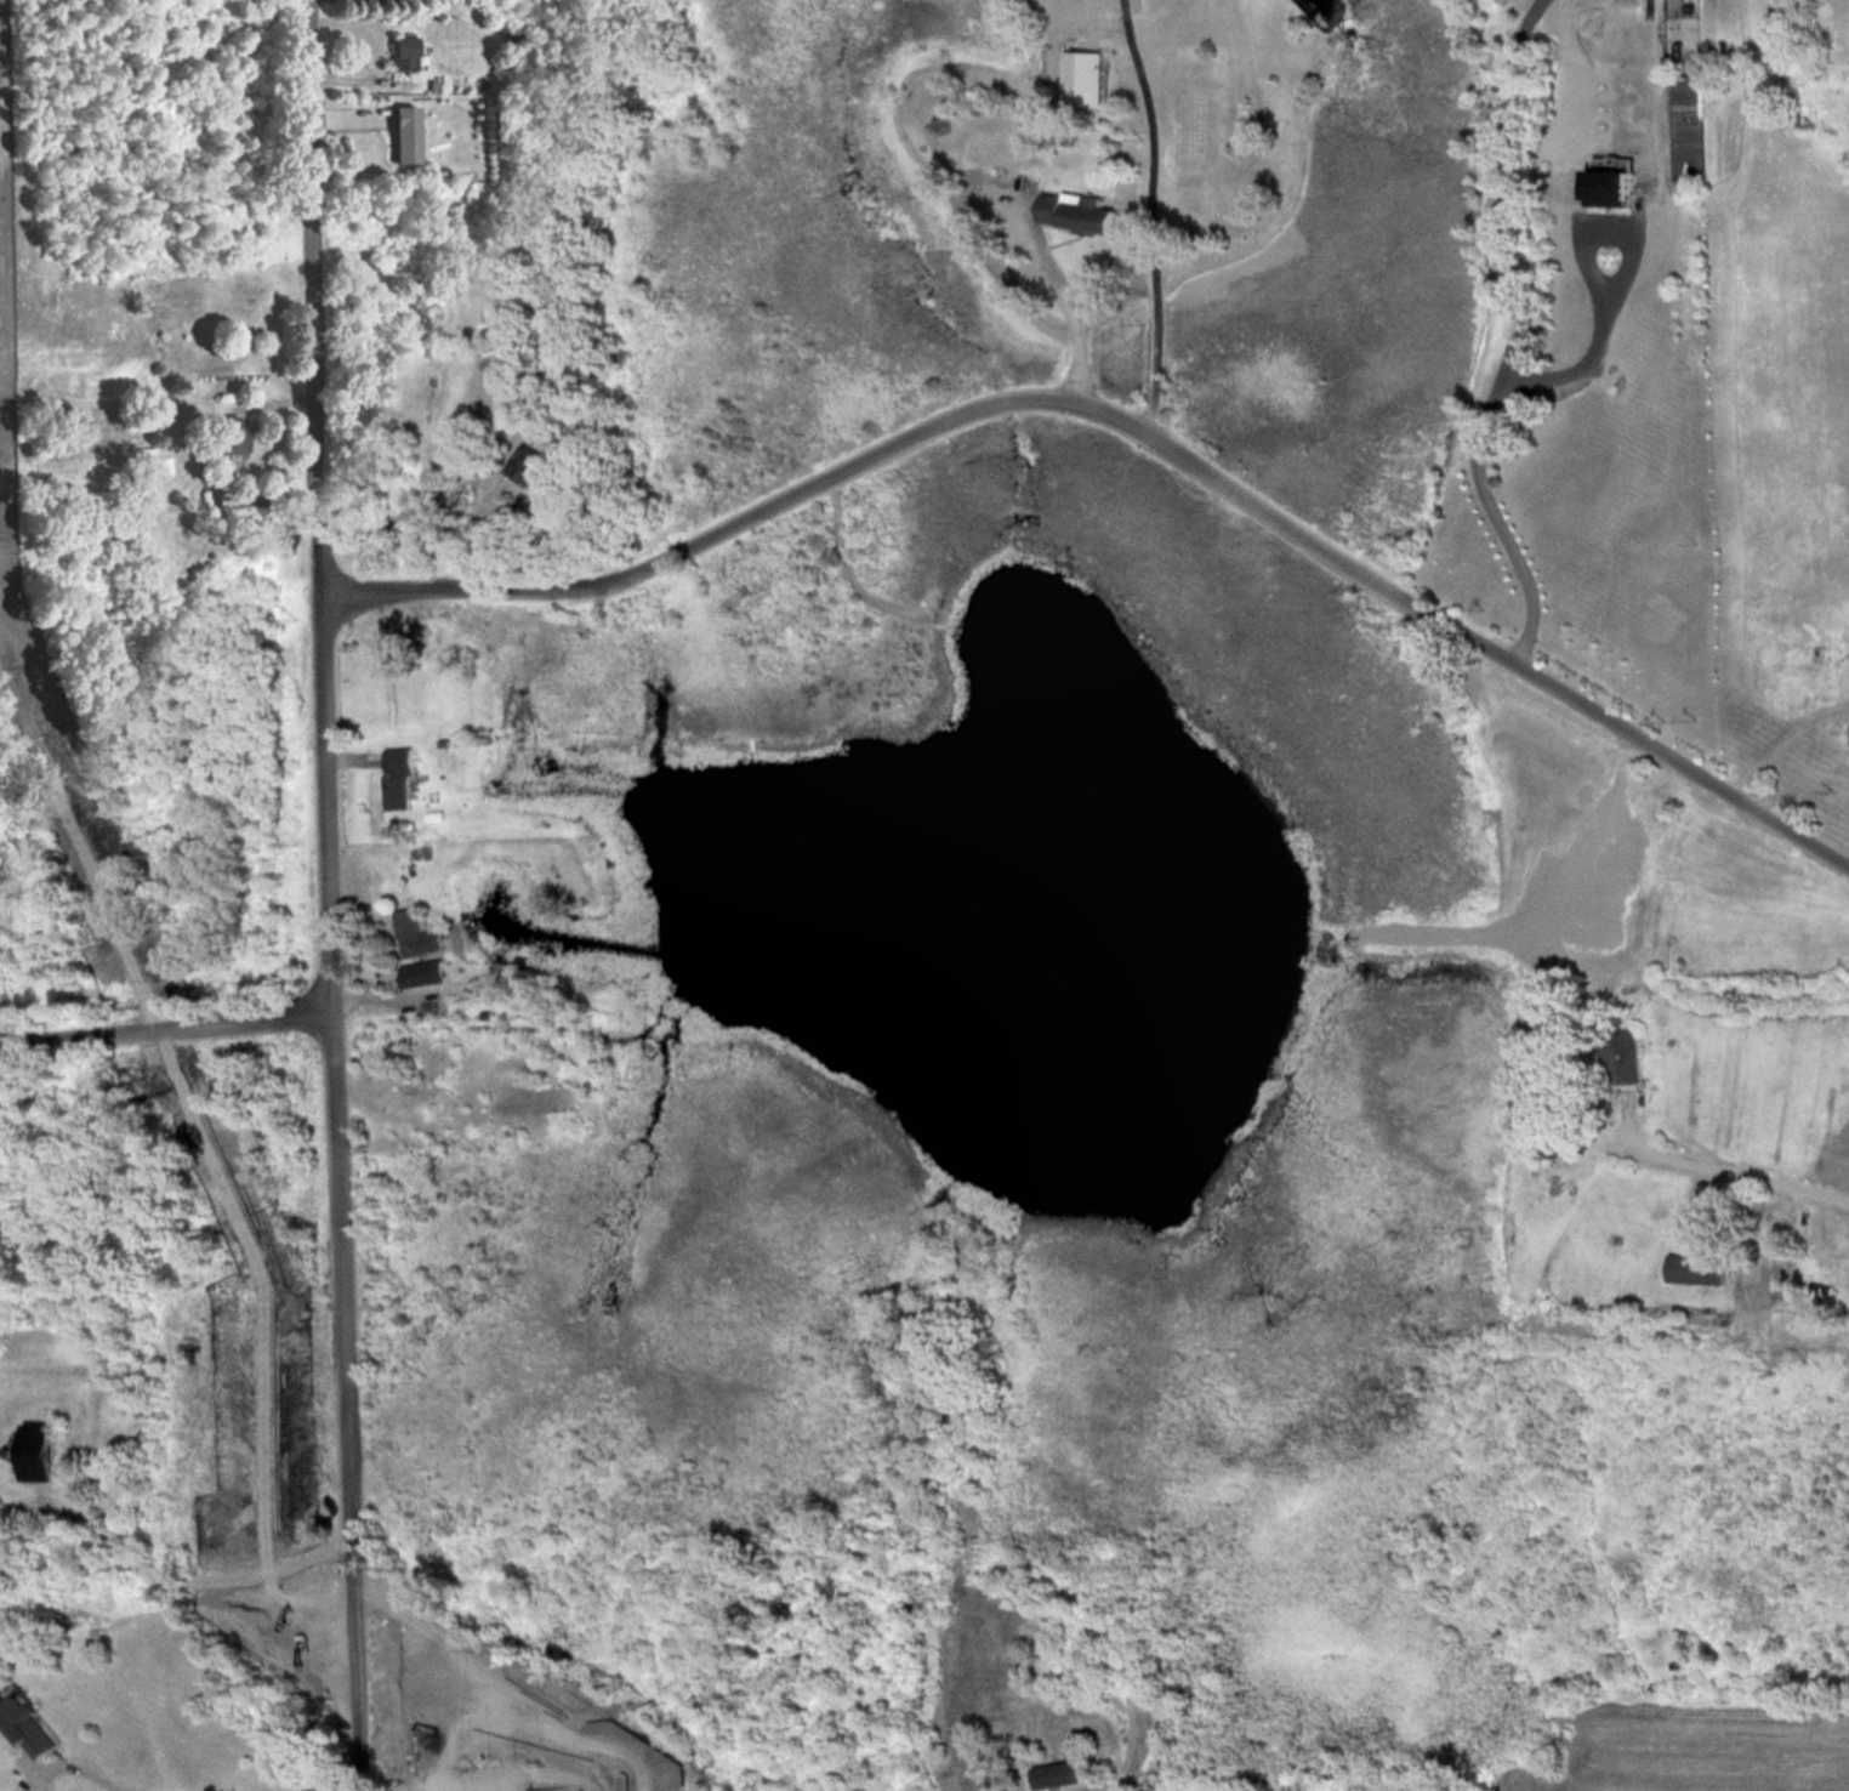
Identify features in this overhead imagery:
building: (403, 51)
building: (1083, 74)
building: (403, 132)
building: (1616, 178)
road: (1514, 197)
building: (1079, 211)
road: (1154, 212)
road: (1073, 307)
road: (1541, 380)
road: (1126, 416)
building: (229, 437)
building: (149, 464)
building: (533, 464)
building: (1847, 678)
building: (399, 777)
road: (329, 894)
building: (415, 933)
road: (166, 1028)
road: (1747, 1172)
building: (1699, 1268)
building: (1824, 1298)
building: (42, 1450)
road: (211, 1574)
road: (477, 1681)
building: (404, 1694)
building: (28, 1723)
building: (527, 1723)
road: (81, 1767)
building: (1063, 1774)

